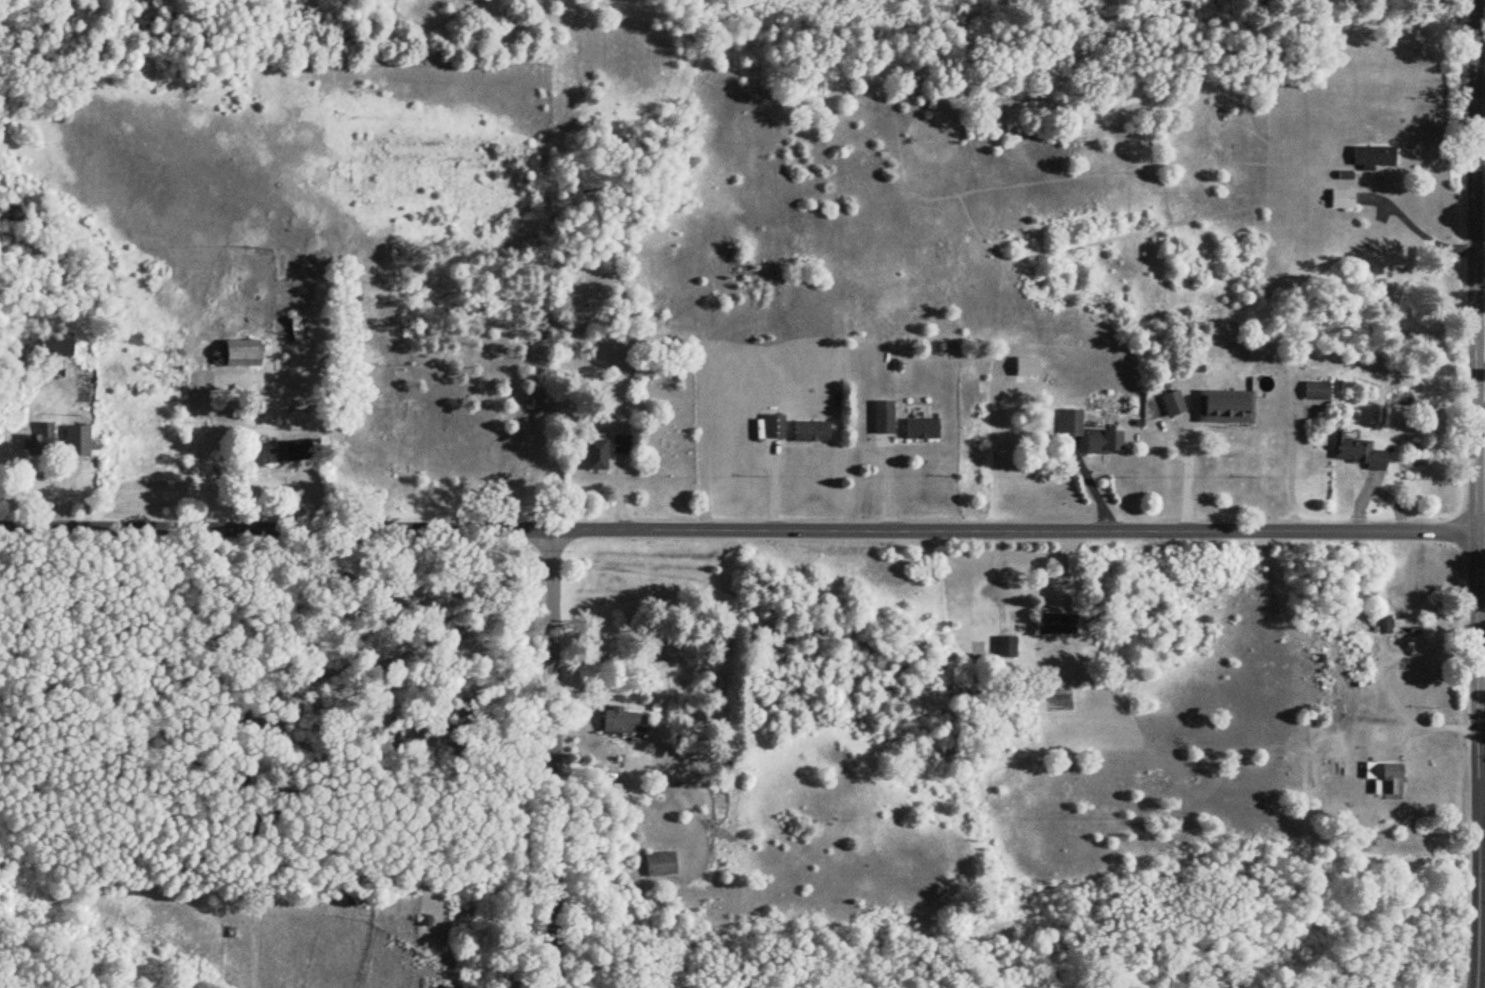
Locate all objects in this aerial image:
building: (1370, 157)
building: (1338, 199)
building: (293, 328)
building: (242, 354)
building: (1314, 391)
building: (1169, 404)
building: (1222, 407)
building: (880, 417)
building: (1068, 425)
building: (771, 426)
building: (919, 429)
building: (808, 431)
building: (75, 440)
building: (1102, 441)
building: (1353, 451)
building: (595, 456)
road: (61, 472)
road: (1184, 474)
road: (1467, 494)
road: (734, 528)
road: (1476, 533)
building: (1054, 624)
building: (1395, 625)
building: (1004, 650)
building: (621, 723)
road: (540, 757)
building: (1390, 779)
road: (1478, 805)
building: (659, 865)

